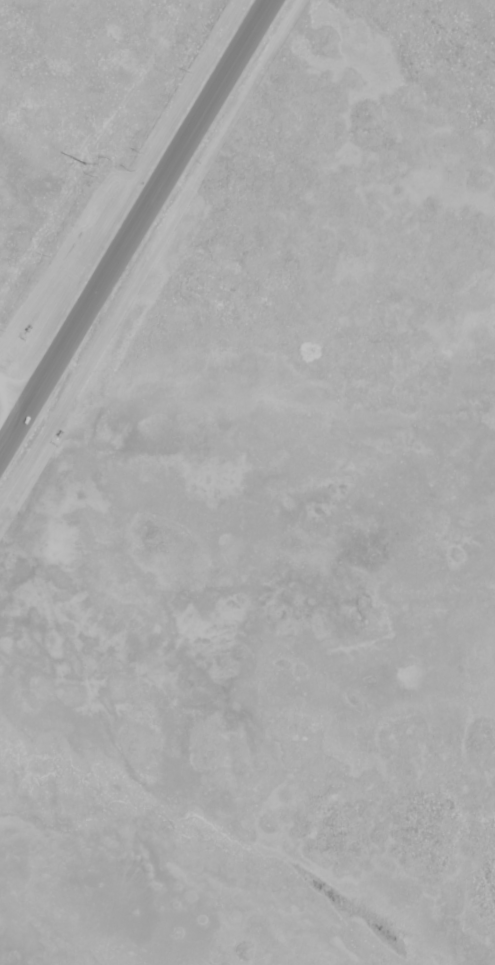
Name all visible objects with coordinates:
park: (80, 107)
power tower: (85, 167)
road: (138, 231)
road: (17, 393)
park: (297, 505)

